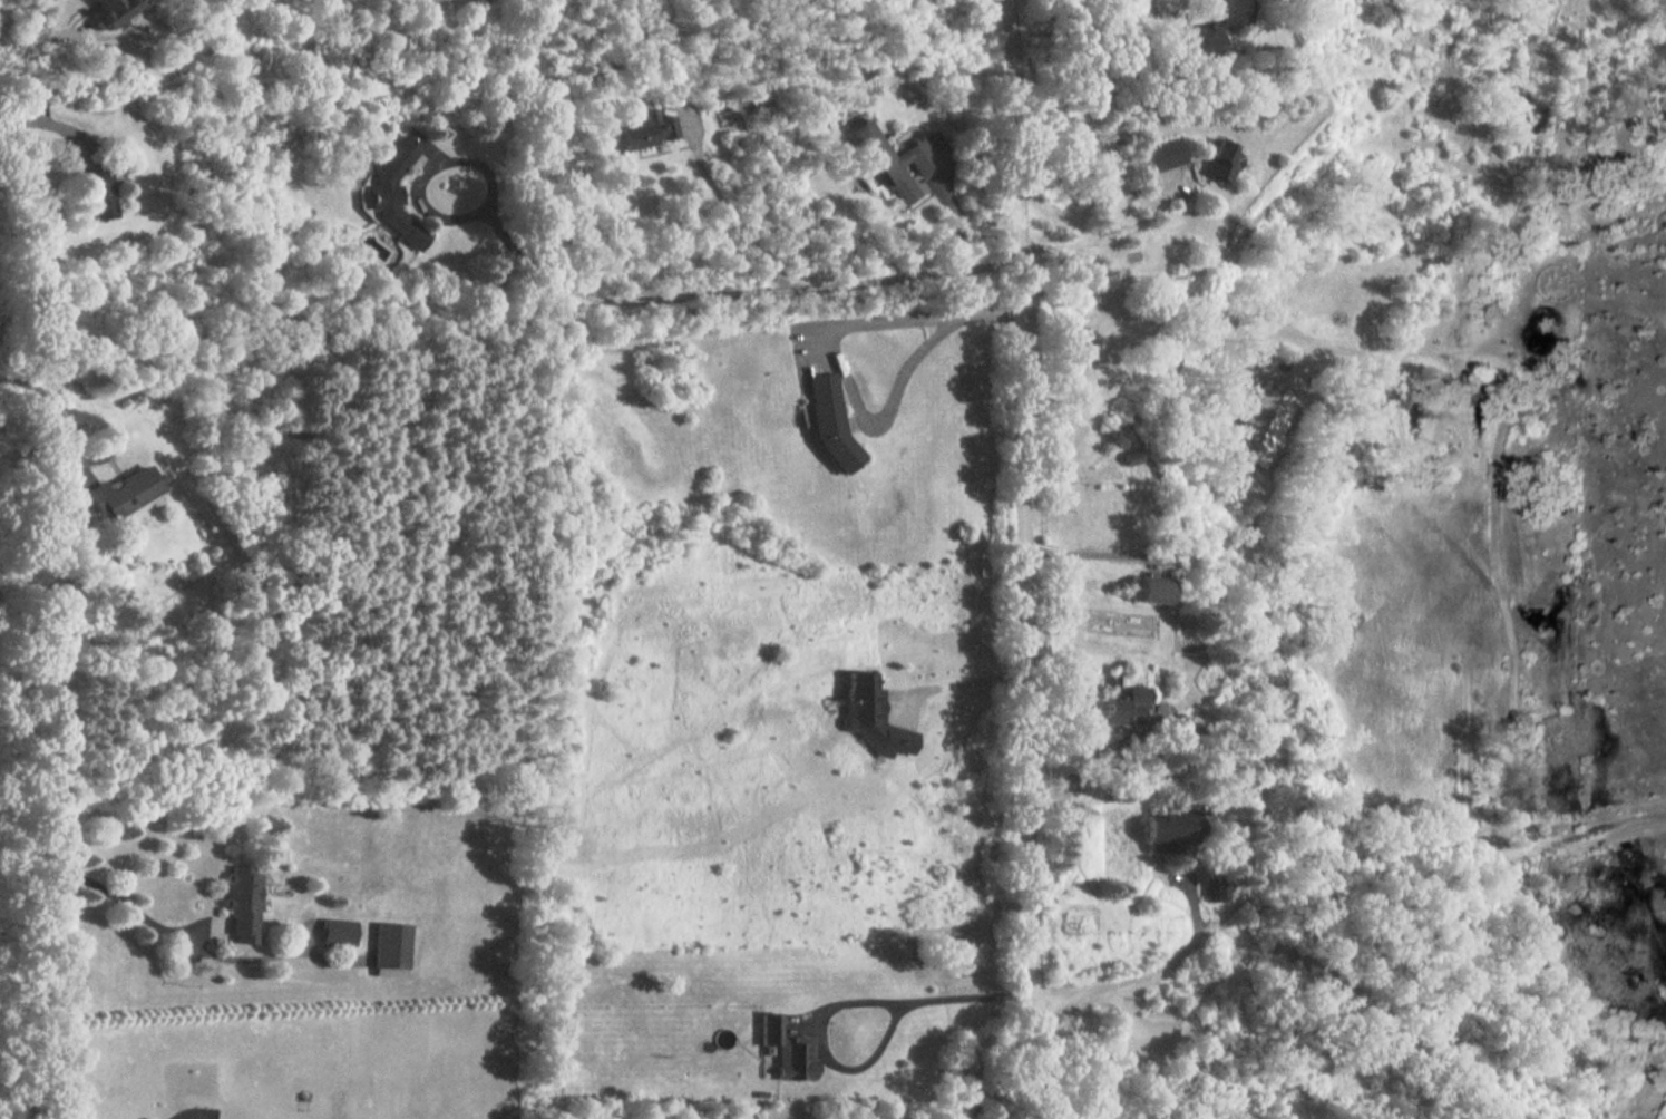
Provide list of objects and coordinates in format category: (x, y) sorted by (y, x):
building: (1214, 20)
road: (1162, 35)
road: (33, 40)
road: (50, 127)
building: (643, 132)
building: (1160, 152)
building: (1218, 156)
building: (888, 162)
building: (393, 192)
road: (723, 215)
road: (1108, 234)
road: (523, 261)
road: (906, 275)
road: (1636, 320)
road: (1228, 323)
road: (832, 357)
road: (1307, 376)
road: (55, 402)
building: (1292, 421)
building: (830, 422)
road: (1367, 451)
building: (1136, 455)
building: (123, 492)
road: (1095, 555)
road: (1029, 558)
building: (1152, 586)
road: (962, 689)
building: (1121, 699)
building: (870, 717)
road: (1114, 742)
road: (1581, 811)
road: (1662, 817)
building: (1169, 827)
road: (1579, 839)
road: (1300, 879)
building: (1218, 886)
road: (1191, 891)
road: (105, 893)
building: (241, 906)
building: (337, 932)
building: (390, 945)
road: (848, 998)
road: (1079, 1000)
road: (1130, 1025)
parking lot: (1148, 1038)
building: (783, 1051)

